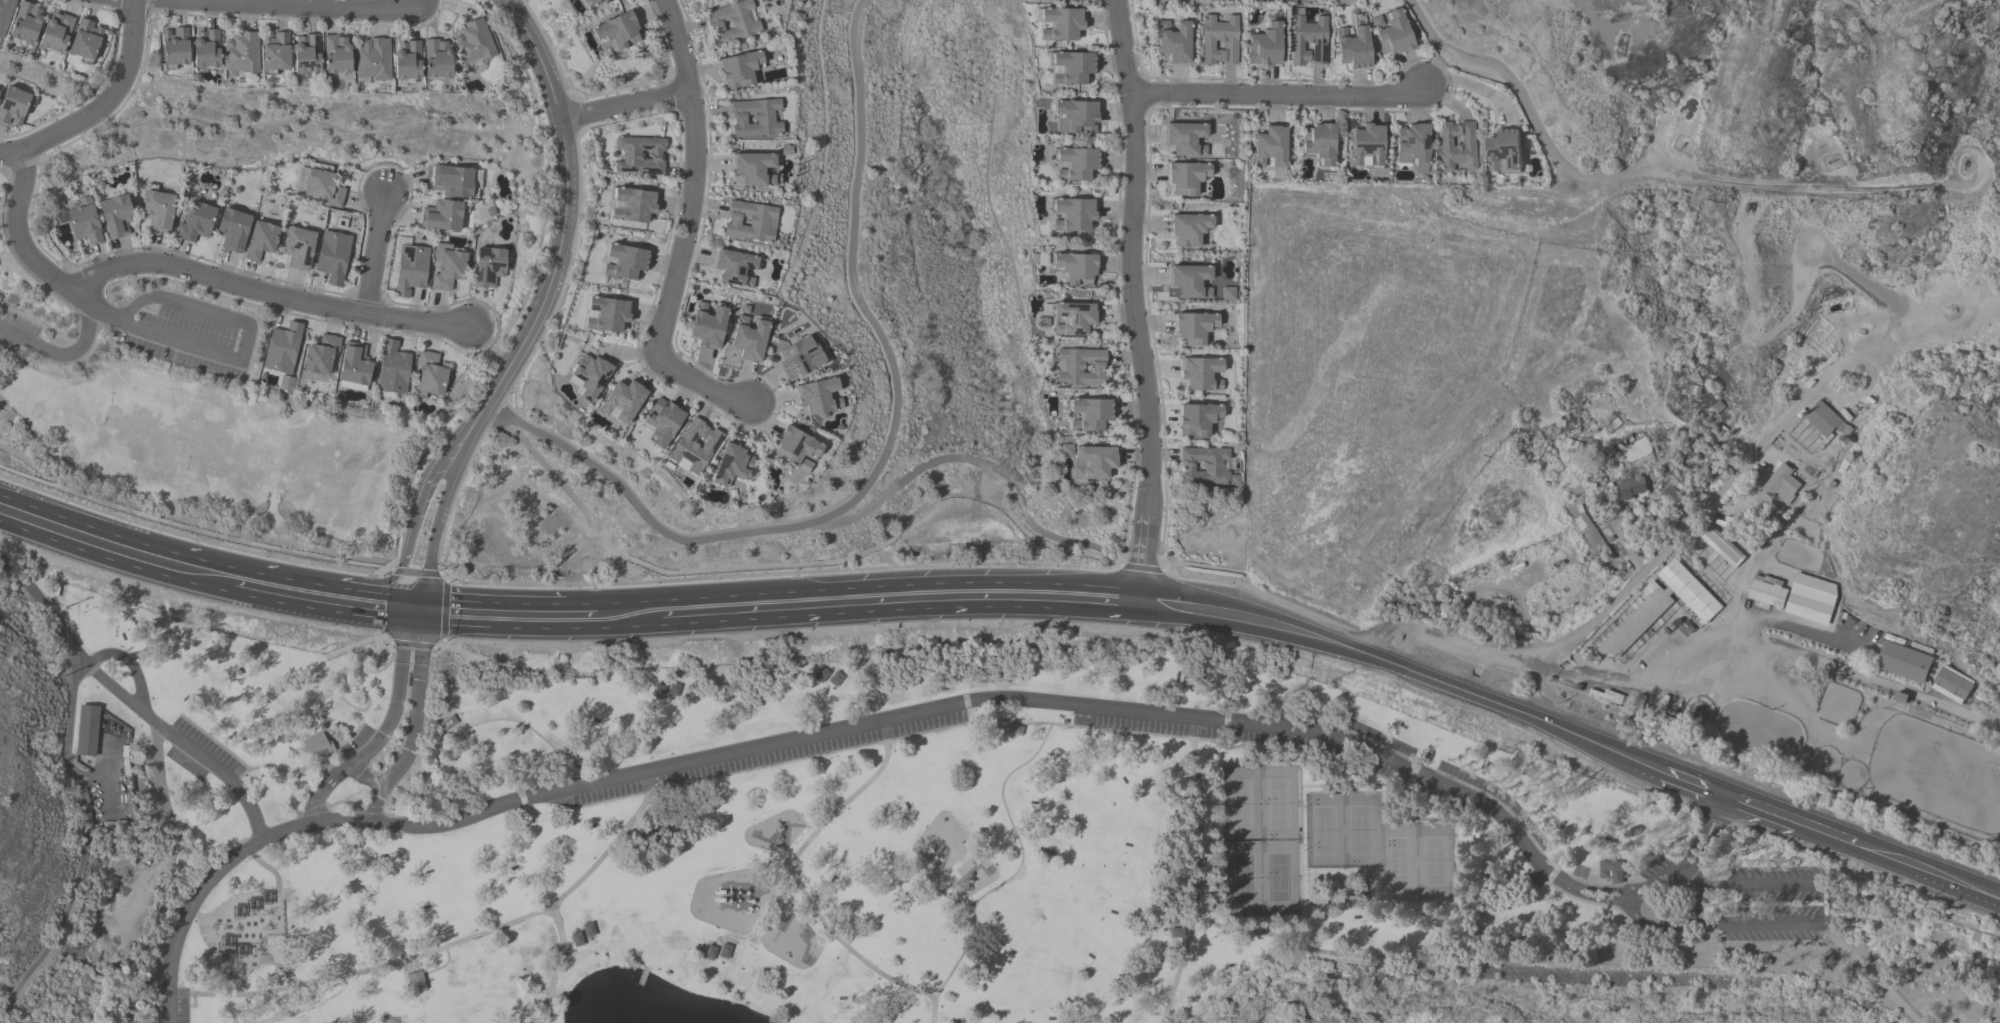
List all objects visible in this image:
building: (1155, 0)
building: (708, 1)
building: (1060, 1)
road: (294, 8)
road: (1591, 19)
building: (736, 24)
building: (1064, 25)
building: (623, 34)
building: (1392, 37)
building: (479, 42)
building: (1173, 43)
building: (1217, 43)
building: (1305, 44)
road: (548, 47)
building: (180, 48)
building: (1264, 48)
building: (211, 50)
building: (1351, 51)
building: (245, 53)
building: (279, 53)
building: (311, 55)
building: (340, 56)
road: (541, 57)
road: (1441, 59)
building: (442, 60)
building: (375, 61)
building: (411, 62)
building: (1073, 70)
building: (744, 71)
road: (1473, 88)
road: (1143, 93)
road: (1277, 95)
road: (111, 97)
road: (1639, 103)
road: (628, 106)
road: (1243, 108)
road: (574, 114)
building: (1078, 118)
building: (758, 120)
building: (1187, 141)
building: (1321, 146)
building: (1416, 147)
building: (1370, 148)
building: (1458, 149)
building: (1272, 150)
building: (1508, 152)
road: (11, 154)
building: (645, 157)
petroleum well: (1831, 160)
petroleum well: (1964, 163)
building: (1077, 166)
building: (756, 171)
road: (1663, 175)
building: (1186, 180)
building: (451, 183)
building: (320, 190)
building: (642, 206)
building: (160, 213)
building: (1075, 216)
building: (119, 218)
building: (440, 219)
building: (750, 223)
building: (197, 225)
road: (687, 230)
building: (233, 232)
building: (1190, 232)
building: (261, 243)
road: (24, 249)
building: (297, 250)
road: (370, 256)
building: (331, 259)
building: (633, 263)
building: (447, 268)
building: (489, 269)
building: (736, 270)
building: (409, 271)
building: (1076, 271)
building: (1194, 284)
road: (1115, 290)
road: (265, 294)
road: (547, 299)
road: (1133, 301)
road: (198, 312)
building: (615, 314)
building: (1075, 320)
building: (708, 328)
road: (1, 330)
building: (1196, 330)
parking lot: (19, 334)
parking lot: (187, 334)
road: (168, 336)
building: (750, 340)
building: (282, 350)
road: (61, 355)
building: (321, 357)
road: (7, 406)
park: (191, 412)
building: (1717, 412)
building: (1828, 422)
road: (881, 446)
road: (978, 464)
road: (553, 477)
road: (984, 484)
building: (1633, 491)
building: (1673, 497)
road: (420, 505)
road: (188, 521)
road: (59, 529)
road: (435, 532)
road: (198, 539)
road: (174, 565)
road: (1141, 568)
road: (413, 572)
road: (317, 573)
road: (533, 584)
road: (1625, 591)
road: (306, 593)
road: (1010, 597)
road: (400, 607)
road: (735, 609)
road: (443, 610)
road: (1302, 610)
road: (44, 612)
road: (490, 612)
road: (579, 614)
road: (410, 622)
road: (1751, 622)
road: (383, 638)
road: (411, 643)
road: (439, 644)
road: (1749, 659)
road: (129, 664)
road: (1406, 669)
building: (659, 693)
road: (368, 709)
road: (415, 720)
road: (1002, 720)
building: (1062, 721)
building: (447, 724)
parking lot: (925, 724)
road: (527, 728)
building: (1012, 729)
building: (86, 730)
road: (811, 736)
road: (381, 742)
road: (184, 744)
building: (315, 746)
parking lot: (199, 753)
parking lot: (767, 757)
road: (265, 769)
road: (297, 779)
toll booth: (330, 779)
road: (366, 780)
road: (417, 781)
road: (1692, 786)
parking lot: (605, 793)
road: (344, 804)
park: (1277, 805)
park: (1240, 806)
road: (166, 814)
road: (1775, 817)
road: (812, 826)
park: (1323, 833)
park: (1360, 833)
park: (855, 841)
road: (83, 848)
road: (1693, 859)
park: (1397, 863)
park: (1434, 863)
road: (1913, 864)
road: (1019, 865)
road: (1194, 872)
building: (1612, 874)
park: (1241, 879)
park: (1278, 879)
road: (945, 886)
street lamp: (986, 887)
road: (1589, 889)
road: (940, 895)
road: (1584, 896)
road: (805, 897)
road: (1634, 900)
road: (1831, 903)
road: (1911, 906)
road: (809, 918)
road: (1465, 928)
road: (1684, 928)
building: (588, 929)
road: (1936, 938)
building: (576, 940)
road: (437, 952)
building: (713, 952)
road: (555, 965)
road: (1871, 973)
pier: (641, 976)
building: (415, 982)
parking lot: (173, 1010)
building: (961, 1021)

